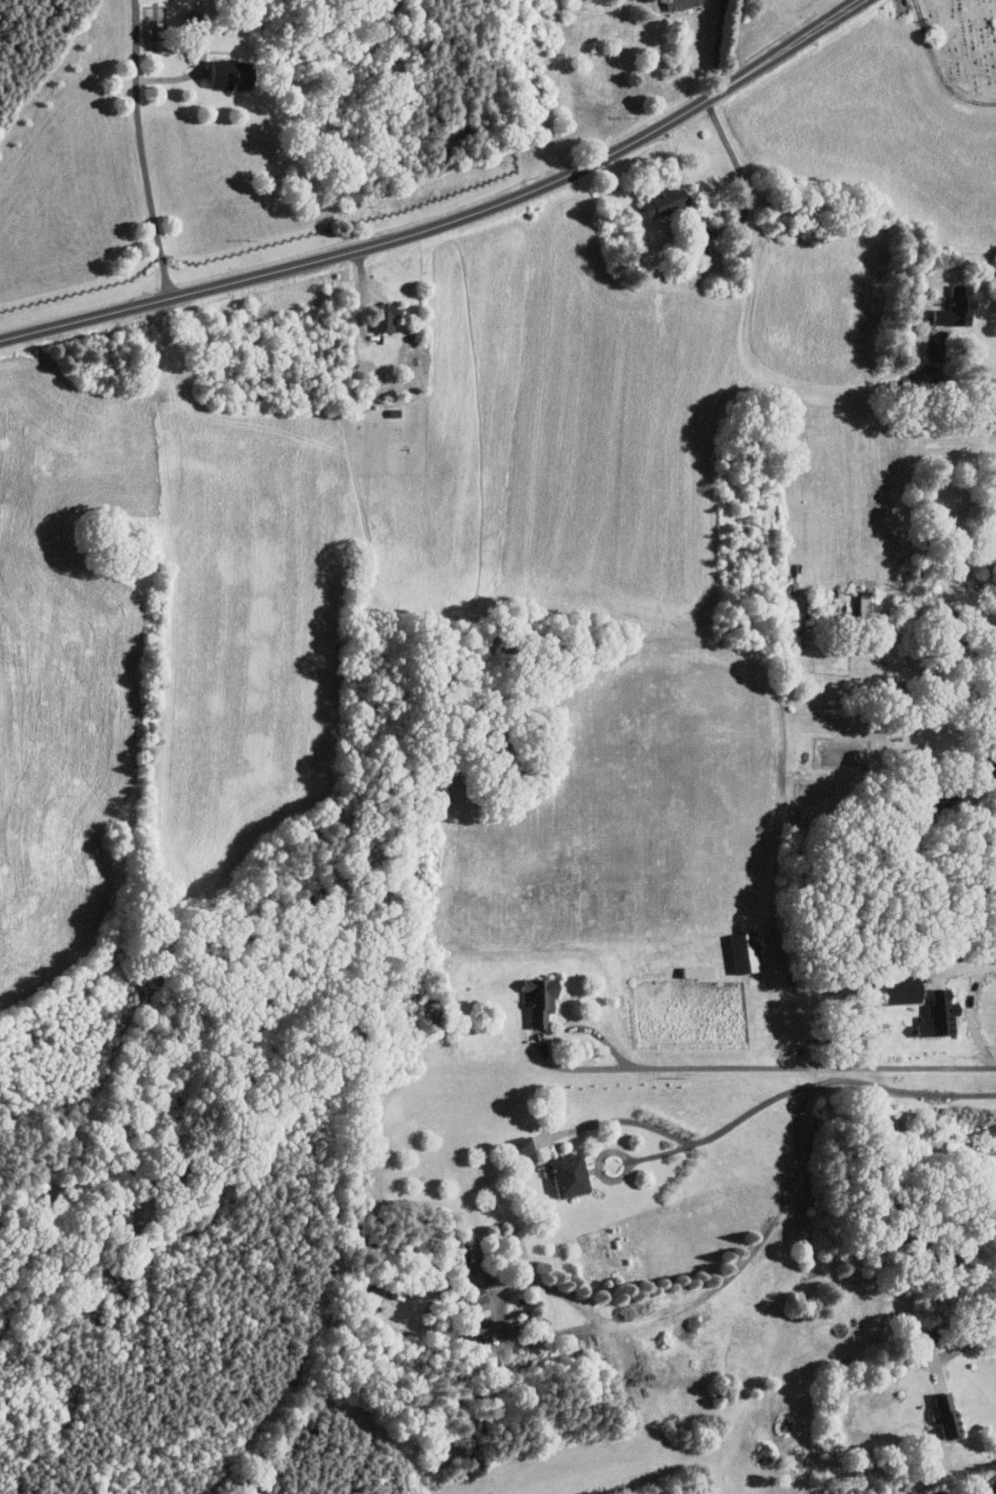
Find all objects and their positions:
building: (683, 4)
road: (718, 43)
building: (234, 75)
road: (141, 150)
road: (738, 170)
building: (668, 202)
road: (451, 221)
building: (960, 308)
building: (387, 320)
building: (390, 340)
road: (769, 369)
road: (949, 383)
road: (992, 570)
building: (989, 732)
road: (995, 762)
building: (740, 952)
building: (893, 989)
building: (538, 998)
road: (968, 1012)
building: (934, 1015)
road: (549, 1043)
road: (815, 1067)
road: (617, 1120)
road: (723, 1129)
building: (519, 1145)
road: (795, 1169)
building: (564, 1175)
building: (476, 1307)
road: (501, 1308)
road: (952, 1352)
building: (945, 1414)

